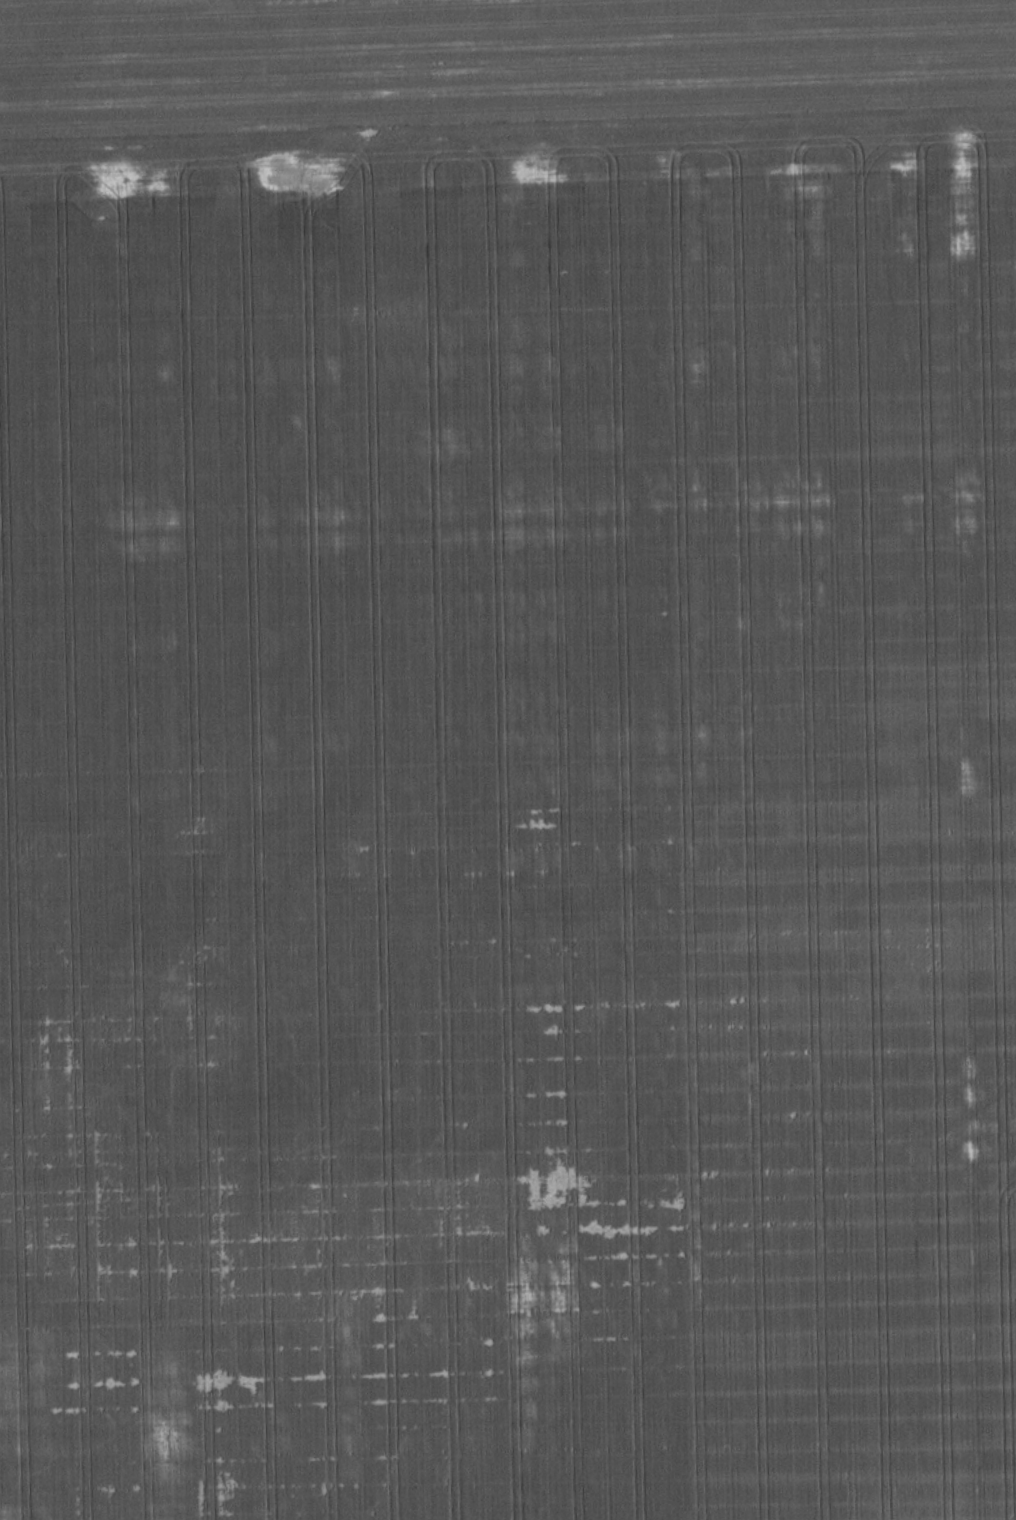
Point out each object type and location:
crop: (482, 60)
crop: (510, 819)

